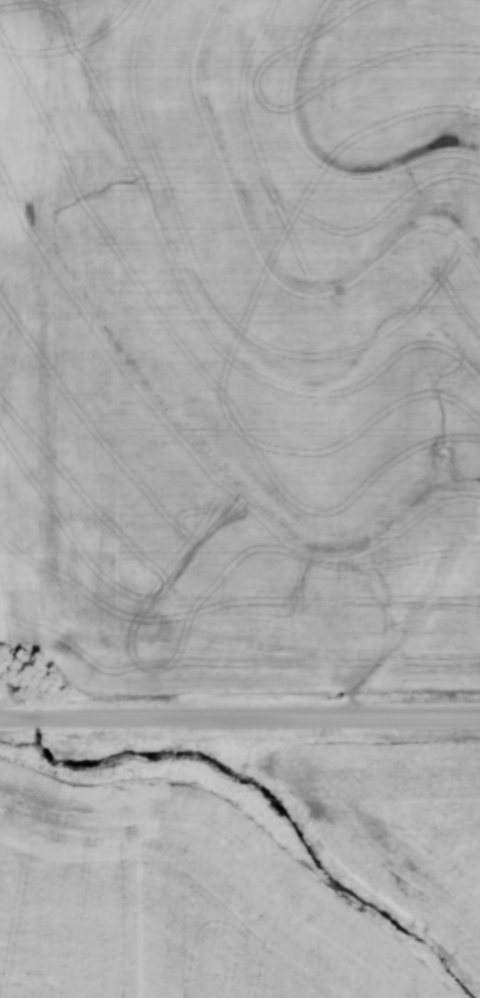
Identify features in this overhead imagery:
road: (240, 715)

